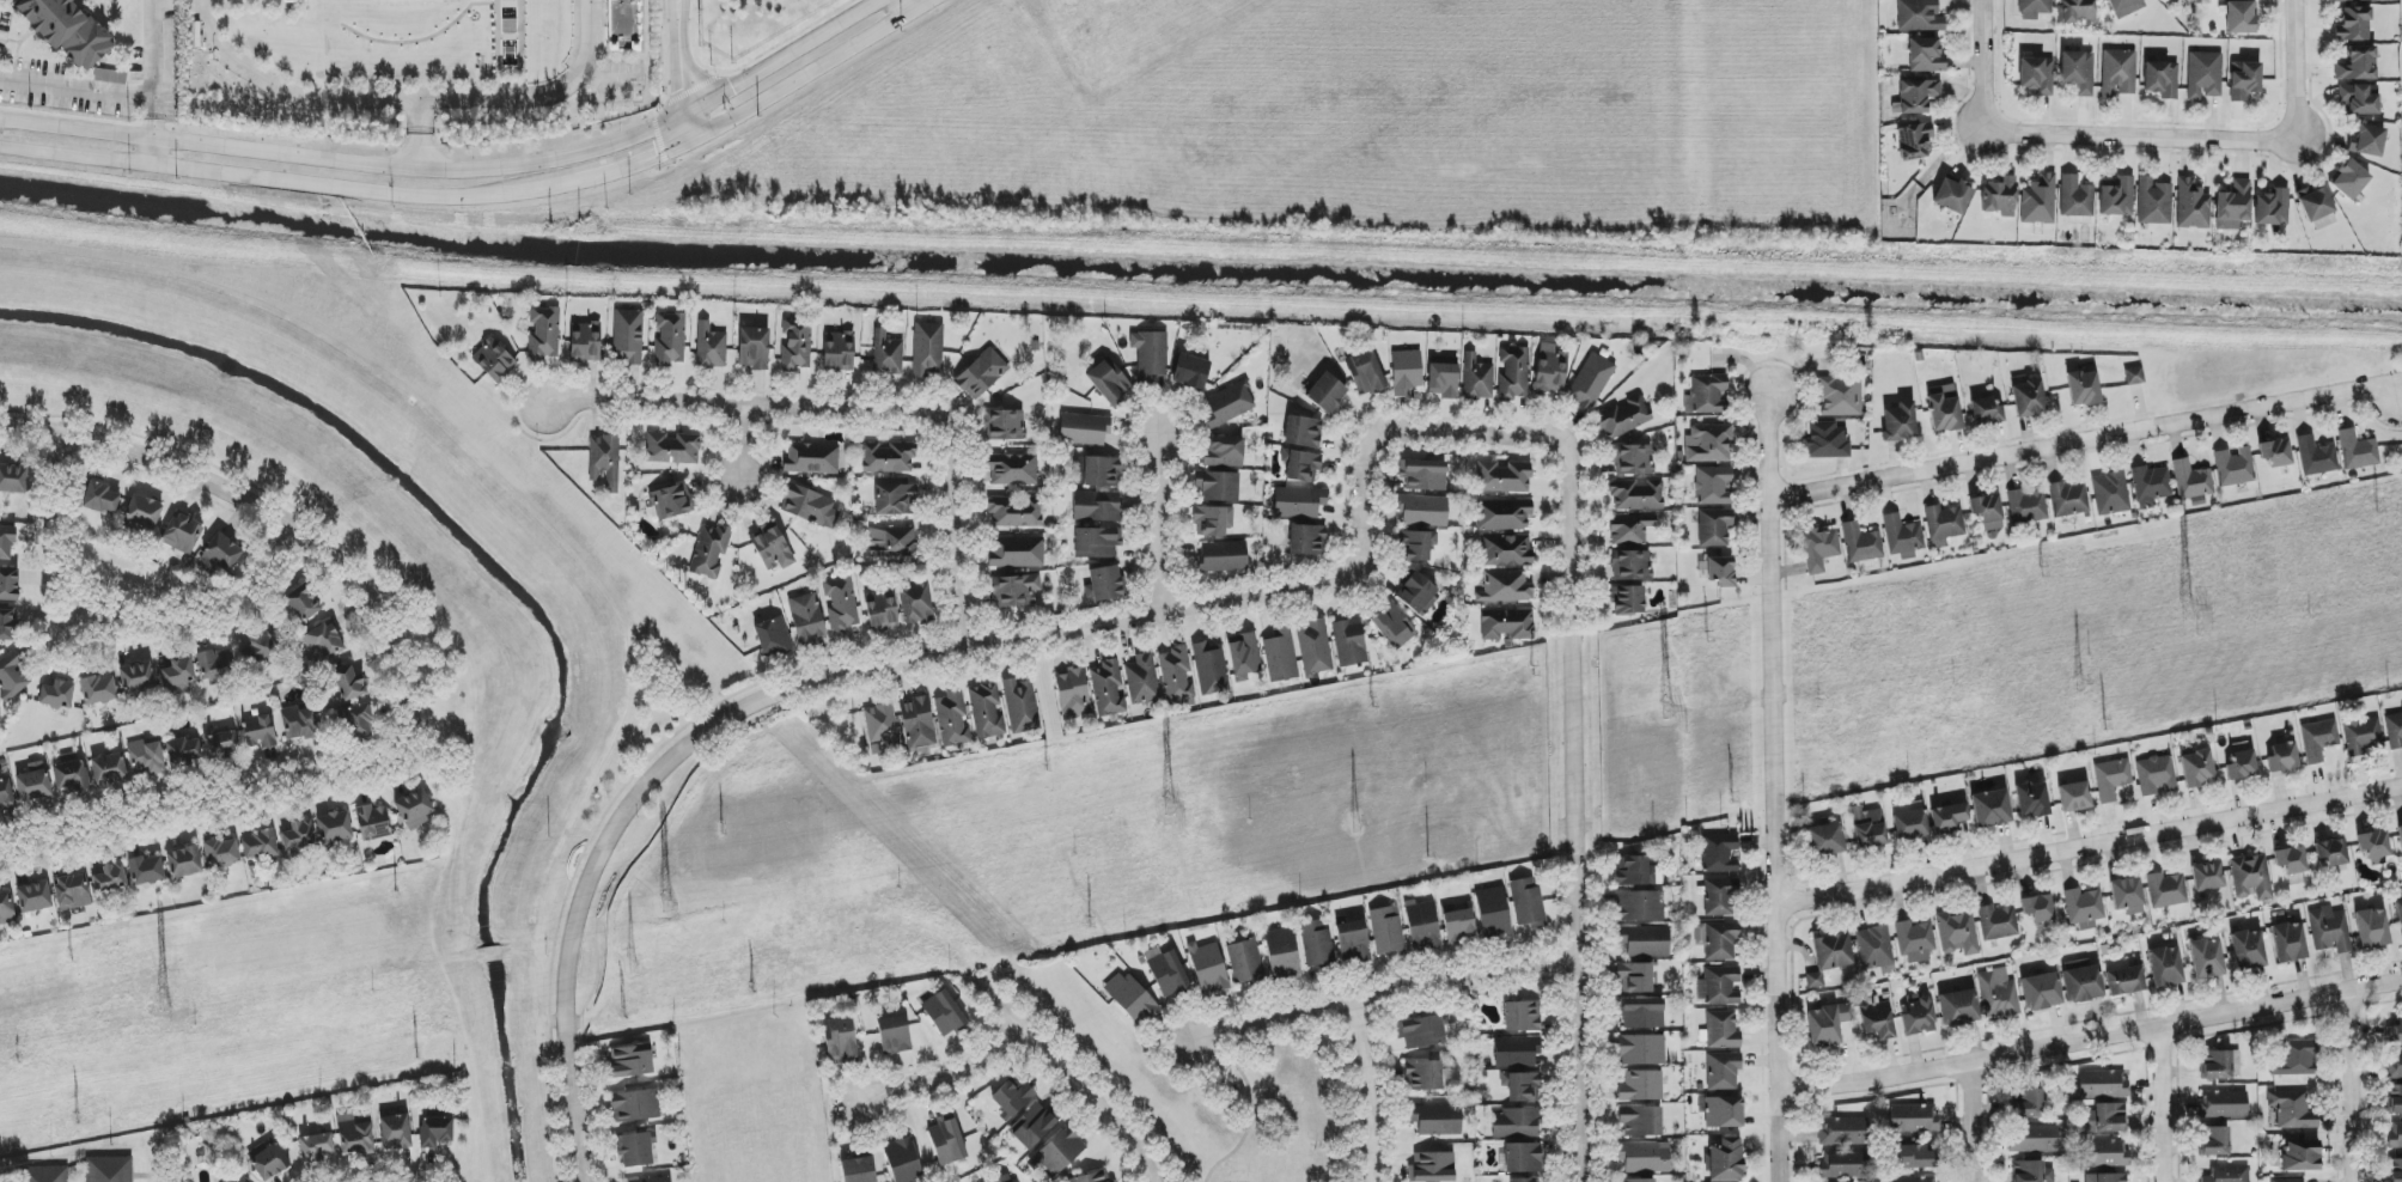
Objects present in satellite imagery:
building: (2353, 0)
road: (906, 7)
building: (2124, 7)
building: (2034, 8)
building: (2077, 11)
building: (1919, 16)
building: (2241, 18)
building: (623, 25)
building: (2353, 25)
building: (65, 30)
building: (1926, 56)
building: (2358, 65)
road: (1982, 66)
road: (151, 68)
road: (2297, 71)
road: (677, 72)
road: (813, 72)
building: (2078, 72)
building: (2117, 73)
building: (2037, 75)
building: (2205, 75)
building: (110, 77)
building: (2162, 79)
building: (2244, 81)
road: (288, 90)
road: (75, 93)
road: (539, 93)
building: (1916, 96)
building: (2359, 99)
road: (419, 134)
road: (2140, 136)
building: (2367, 141)
building: (1915, 142)
road: (152, 152)
road: (457, 170)
road: (611, 172)
road: (263, 179)
building: (2349, 181)
building: (1952, 196)
building: (1999, 196)
building: (2116, 196)
building: (2075, 200)
building: (2038, 201)
building: (2153, 202)
building: (2315, 203)
building: (2191, 206)
building: (2232, 206)
building: (2272, 208)
building: (2323, 223)
building: (544, 333)
building: (628, 339)
building: (670, 340)
building: (585, 342)
building: (795, 347)
building: (711, 348)
building: (754, 348)
building: (928, 351)
building: (837, 352)
building: (888, 355)
building: (1152, 357)
building: (494, 361)
building: (1550, 368)
building: (1190, 372)
building: (1406, 372)
building: (981, 373)
building: (1366, 373)
building: (1514, 373)
building: (2134, 376)
building: (1443, 377)
building: (1477, 379)
building: (1108, 382)
building: (1590, 383)
building: (2083, 389)
building: (1327, 394)
building: (1706, 395)
building: (1840, 396)
building: (2028, 398)
building: (1227, 404)
building: (1944, 408)
road: (858, 412)
building: (1986, 413)
building: (1624, 416)
building: (1900, 422)
building: (1005, 425)
building: (1084, 429)
building: (1303, 432)
road: (1475, 435)
building: (1828, 440)
road: (2085, 440)
building: (1709, 444)
building: (673, 449)
road: (740, 450)
building: (2357, 451)
building: (1223, 452)
building: (2275, 453)
building: (599, 457)
building: (2316, 457)
building: (812, 458)
building: (889, 458)
building: (1634, 459)
building: (1301, 467)
building: (2233, 467)
building: (1013, 470)
building: (1098, 471)
building: (1423, 475)
building: (1504, 477)
building: (13, 479)
building: (2191, 481)
building: (1218, 486)
building: (1714, 486)
building: (2150, 486)
building: (2110, 494)
building: (1636, 495)
building: (100, 498)
road: (1364, 498)
building: (2068, 499)
building: (895, 500)
building: (1299, 502)
building: (667, 504)
building: (1097, 506)
building: (810, 507)
building: (2026, 507)
power tower: (2376, 507)
building: (1986, 508)
building: (1423, 511)
building: (1014, 512)
building: (142, 513)
building: (1504, 514)
building: (1209, 522)
building: (1944, 524)
road: (1156, 525)
building: (1714, 528)
building: (1630, 529)
building: (182, 534)
building: (1902, 537)
building: (892, 540)
building: (1306, 541)
building: (6, 543)
building: (1097, 543)
building: (1860, 543)
building: (772, 547)
building: (1414, 547)
building: (1819, 549)
building: (711, 550)
building: (1017, 552)
building: (1507, 552)
building: (221, 553)
road: (292, 556)
building: (1224, 556)
building: (1630, 566)
building: (1720, 571)
power tower: (2043, 572)
building: (1103, 584)
building: (8, 585)
building: (1505, 587)
building: (1018, 590)
building: (1416, 592)
building: (1626, 601)
building: (301, 604)
building: (841, 604)
building: (917, 604)
power tower: (2182, 608)
building: (882, 610)
building: (807, 620)
building: (1507, 624)
building: (7, 626)
building: (1392, 626)
power tower: (1707, 636)
building: (774, 638)
road: (93, 639)
building: (1348, 641)
building: (324, 644)
building: (260, 647)
building: (1315, 648)
building: (1243, 656)
building: (1280, 656)
building: (215, 664)
building: (1209, 669)
power tower: (1532, 671)
building: (178, 672)
building: (12, 676)
building: (1177, 676)
building: (136, 677)
power tower: (2080, 678)
building: (1142, 680)
building: (349, 684)
building: (1109, 688)
building: (98, 690)
road: (782, 691)
building: (1072, 694)
building: (56, 695)
power tower: (1373, 702)
road: (1571, 705)
building: (1022, 706)
building: (987, 711)
power tower: (1658, 711)
building: (953, 719)
building: (356, 721)
building: (299, 723)
power tower: (2103, 724)
building: (882, 725)
building: (917, 725)
building: (2394, 729)
building: (258, 732)
building: (2361, 736)
building: (2318, 739)
building: (221, 744)
building: (184, 751)
building: (146, 757)
building: (2282, 757)
power tower: (1047, 766)
building: (2241, 766)
building: (109, 768)
building: (2196, 769)
building: (2156, 775)
building: (71, 776)
road: (1770, 778)
building: (2111, 779)
building: (33, 785)
building: (6, 793)
power tower: (1730, 797)
building: (2074, 797)
building: (2031, 800)
building: (414, 808)
building: (1991, 809)
power tower: (1162, 810)
building: (1947, 818)
road: (165, 821)
building: (1909, 821)
building: (373, 822)
power tower: (1364, 825)
building: (334, 828)
building: (1867, 828)
power tower: (721, 829)
building: (299, 835)
building: (2401, 837)
building: (1825, 839)
building: (261, 845)
building: (2374, 847)
road: (2086, 848)
building: (221, 853)
building: (1719, 853)
building: (2331, 853)
power tower: (1428, 860)
building: (2291, 860)
building: (184, 863)
building: (146, 871)
building: (1632, 871)
building: (2207, 877)
building: (110, 878)
building: (2250, 878)
building: (2166, 890)
building: (72, 891)
power tower: (396, 891)
building: (2127, 896)
building: (33, 897)
building: (1720, 897)
building: (1528, 903)
power tower: (667, 906)
building: (1641, 906)
building: (6, 908)
building: (2037, 908)
building: (2084, 908)
building: (1493, 913)
building: (2400, 916)
building: (1998, 922)
power tower: (1089, 925)
building: (1458, 925)
building: (1422, 926)
building: (2372, 928)
building: (2329, 930)
building: (1388, 932)
building: (1958, 933)
building: (1718, 940)
building: (1645, 942)
building: (1915, 942)
building: (2288, 942)
building: (1353, 943)
building: (1315, 944)
building: (1876, 948)
building: (2246, 950)
building: (1281, 952)
power tower: (72, 955)
building: (1829, 956)
building: (2206, 958)
building: (1244, 962)
building: (2165, 967)
power tower: (634, 968)
building: (1208, 969)
building: (1166, 973)
building: (1635, 977)
building: (2081, 981)
building: (2124, 981)
building: (1720, 986)
power tower: (752, 987)
building: (2041, 992)
building: (1998, 994)
road: (1383, 995)
power tower: (164, 1001)
building: (1134, 1001)
building: (1958, 1009)
power tower: (623, 1013)
building: (945, 1013)
building: (1642, 1013)
building: (1919, 1016)
building: (1523, 1017)
building: (1877, 1018)
building: (1827, 1025)
building: (1723, 1030)
building: (1421, 1031)
building: (2394, 1032)
building: (894, 1035)
building: (840, 1041)
road: (2089, 1043)
building: (1642, 1050)
building: (1516, 1052)
power tower: (411, 1055)
building: (2294, 1059)
building: (630, 1061)
building: (2219, 1065)
building: (2394, 1066)
road: (1577, 1071)
building: (1723, 1071)
building: (1422, 1076)
road: (1068, 1078)
road: (943, 1079)
building: (2102, 1084)
building: (1641, 1086)
building: (1522, 1087)
road: (2351, 1087)
road: (1371, 1090)
building: (1011, 1098)
building: (2395, 1099)
building: (2026, 1103)
building: (2223, 1104)
building: (635, 1105)
road: (1250, 1105)
road: (2160, 1105)
building: (2292, 1110)
building: (1724, 1113)
power tower: (78, 1117)
building: (1913, 1119)
building: (2105, 1119)
building: (1437, 1120)
building: (1640, 1121)
building: (1514, 1123)
road: (1970, 1125)
building: (1031, 1126)
building: (395, 1132)
building: (435, 1132)
building: (1842, 1132)
building: (2395, 1135)
building: (2034, 1139)
building: (947, 1140)
building: (2214, 1141)
building: (316, 1147)
building: (635, 1150)
building: (1059, 1152)
building: (2105, 1154)
building: (2299, 1156)
building: (1523, 1158)
building: (1644, 1158)
building: (1915, 1158)
building: (268, 1160)
building: (903, 1160)
building: (1725, 1160)
building: (1845, 1164)
building: (1432, 1168)
building: (109, 1169)
building: (2395, 1169)
building: (858, 1170)
building: (2031, 1172)
building: (47, 1175)
building: (2227, 1175)
building: (1095, 1177)
building: (2105, 1177)
building: (1006, 1178)
building: (657, 1180)
building: (1522, 1180)
building: (1910, 1180)
building: (230, 1181)
building: (1638, 1181)
building: (2288, 1181)

